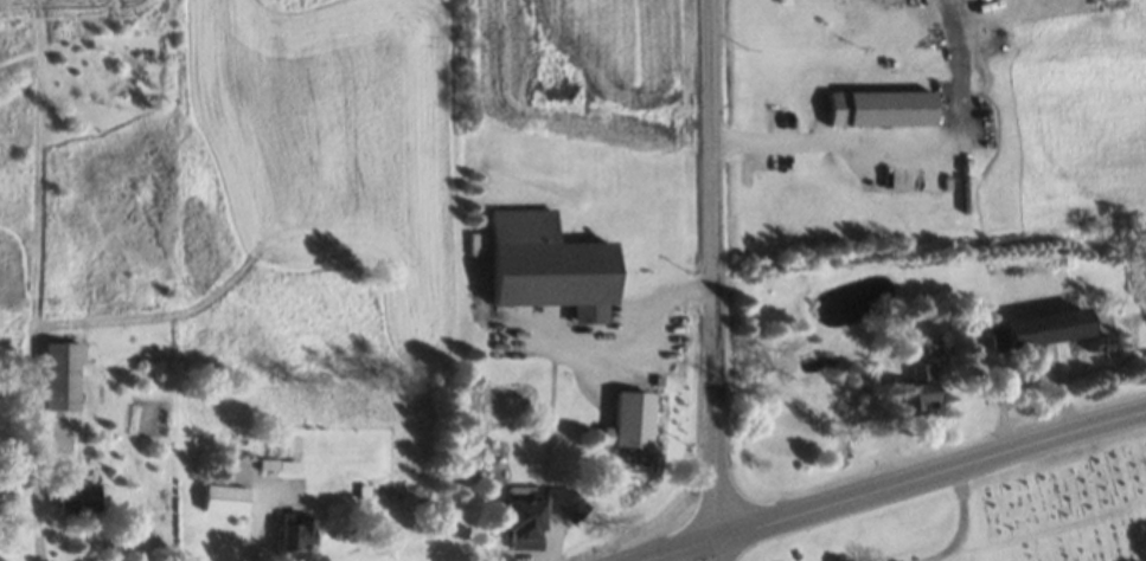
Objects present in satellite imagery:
building: (890, 108)
road: (902, 140)
building: (551, 265)
road: (713, 279)
building: (1054, 327)
building: (62, 375)
building: (923, 389)
building: (633, 420)
road: (898, 485)
building: (78, 494)
building: (225, 498)
building: (566, 501)
building: (525, 522)
building: (296, 533)

